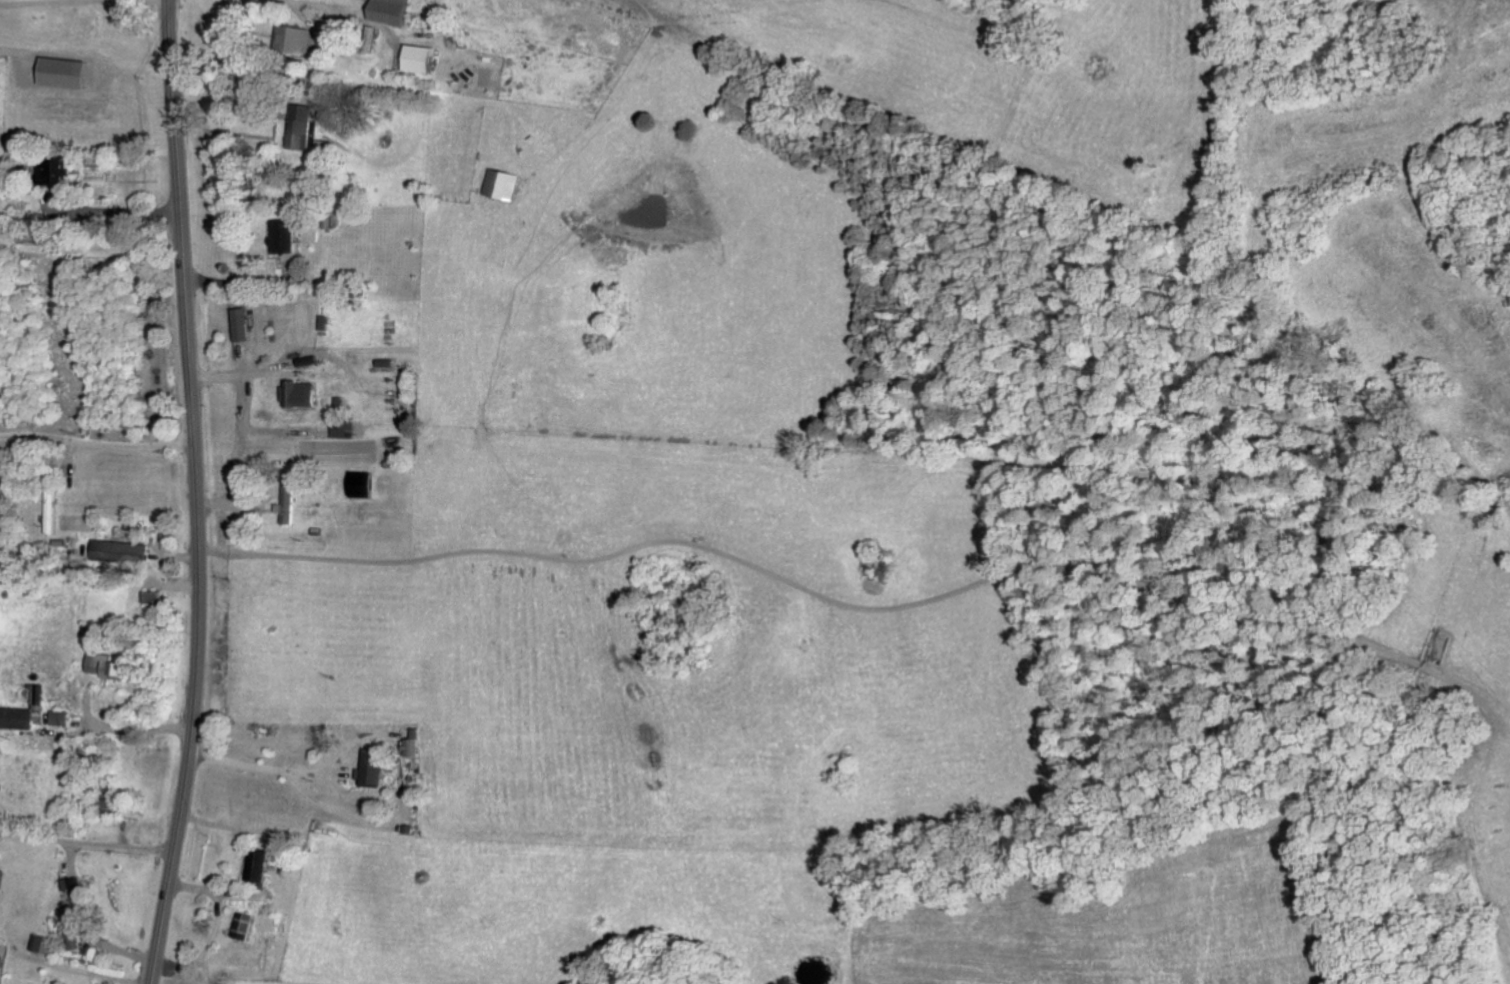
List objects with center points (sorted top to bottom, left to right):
building: (394, 11)
building: (303, 37)
building: (424, 57)
building: (70, 72)
building: (304, 133)
building: (499, 184)
road: (120, 211)
building: (287, 236)
building: (245, 323)
building: (304, 393)
building: (346, 428)
building: (364, 485)
road: (197, 493)
building: (127, 550)
building: (118, 665)
building: (47, 693)
building: (22, 717)
building: (70, 717)
building: (415, 746)
building: (377, 767)
building: (263, 864)
building: (5, 883)
building: (246, 925)
building: (75, 927)
building: (46, 943)

